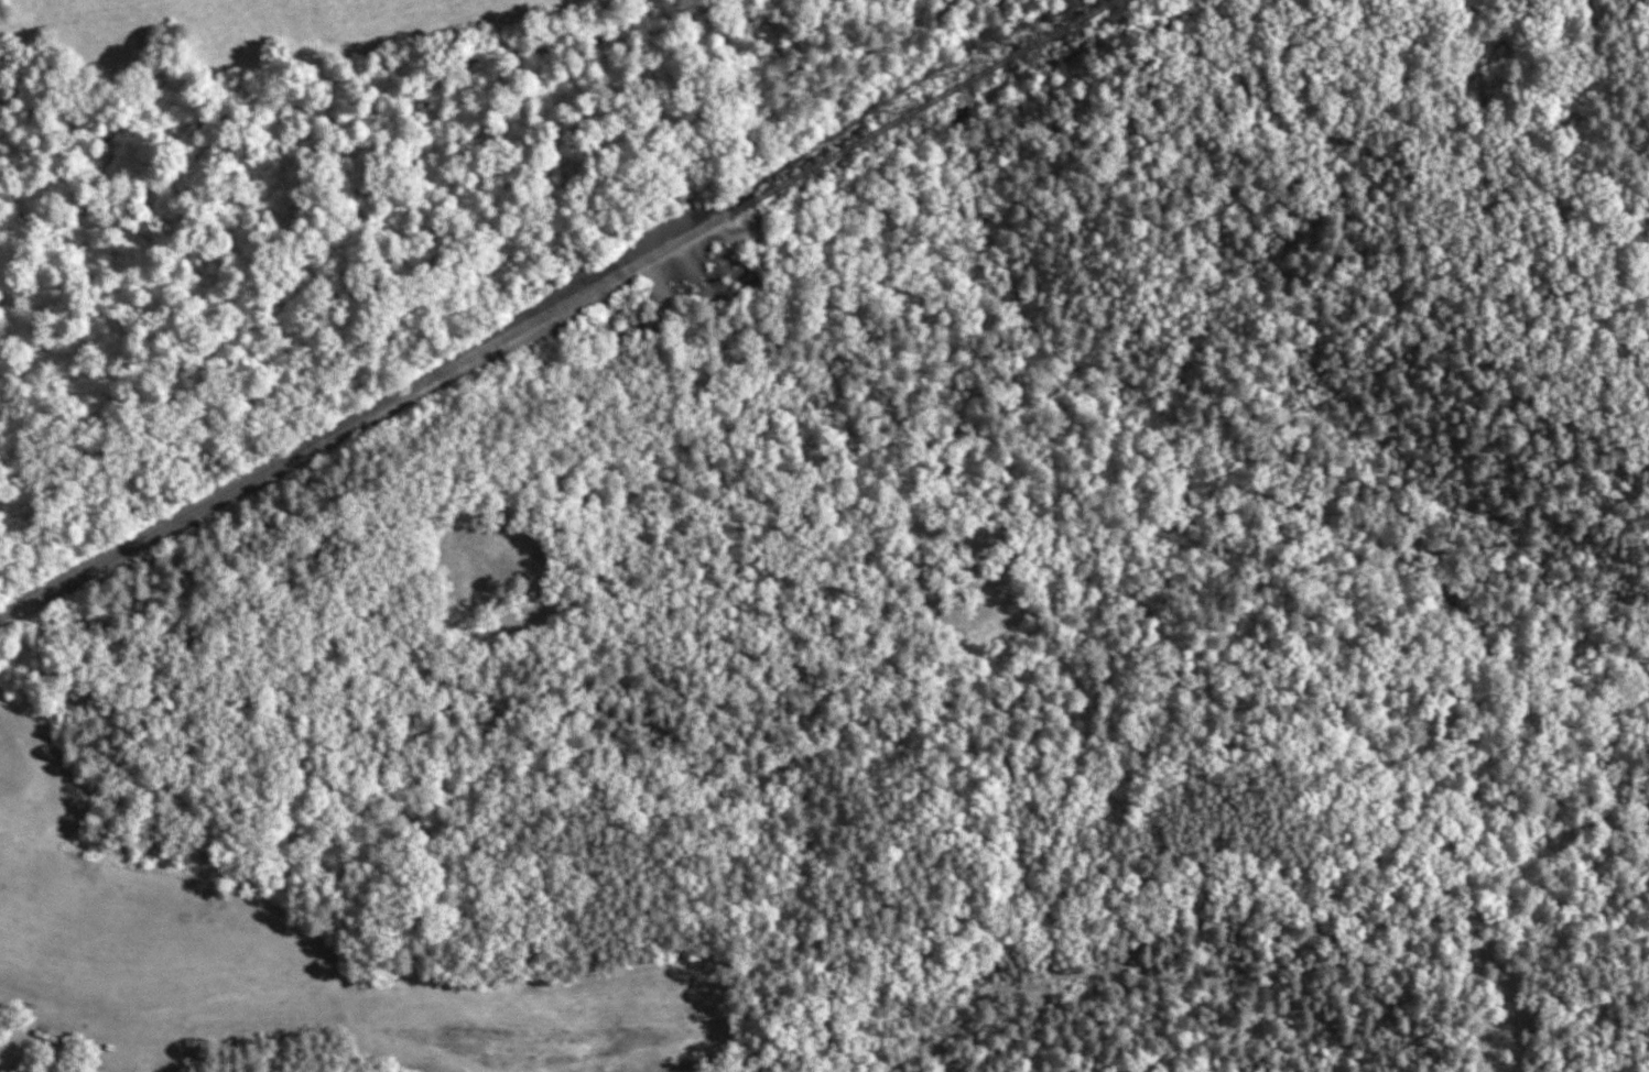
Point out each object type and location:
railway: (927, 109)
railway: (364, 416)

